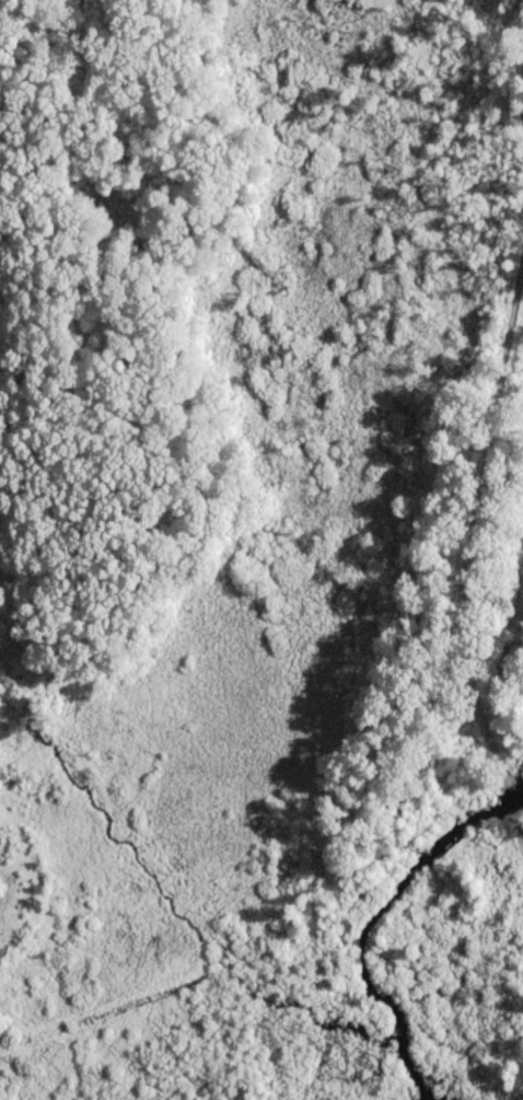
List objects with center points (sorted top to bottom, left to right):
road: (468, 521)
park: (261, 549)
building: (509, 798)
road: (509, 799)
road: (518, 829)
river: (373, 917)

